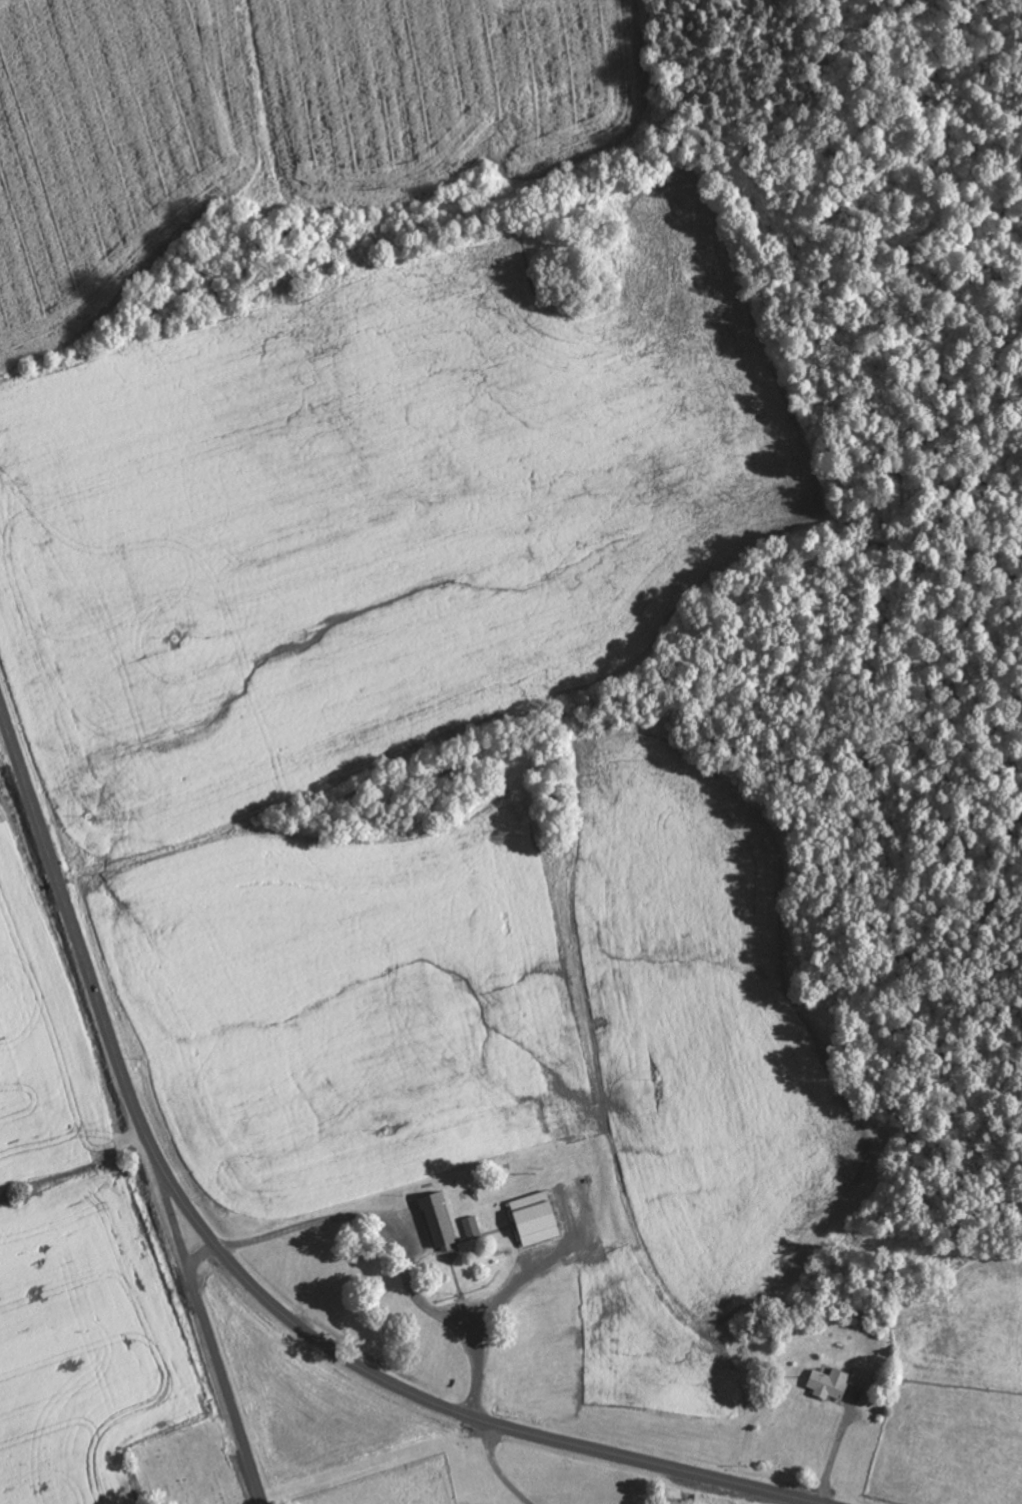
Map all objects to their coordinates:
building: (433, 1221)
building: (530, 1221)
building: (469, 1229)
road: (203, 1258)
road: (244, 1278)
road: (208, 1328)
building: (835, 1385)
park: (186, 1467)

